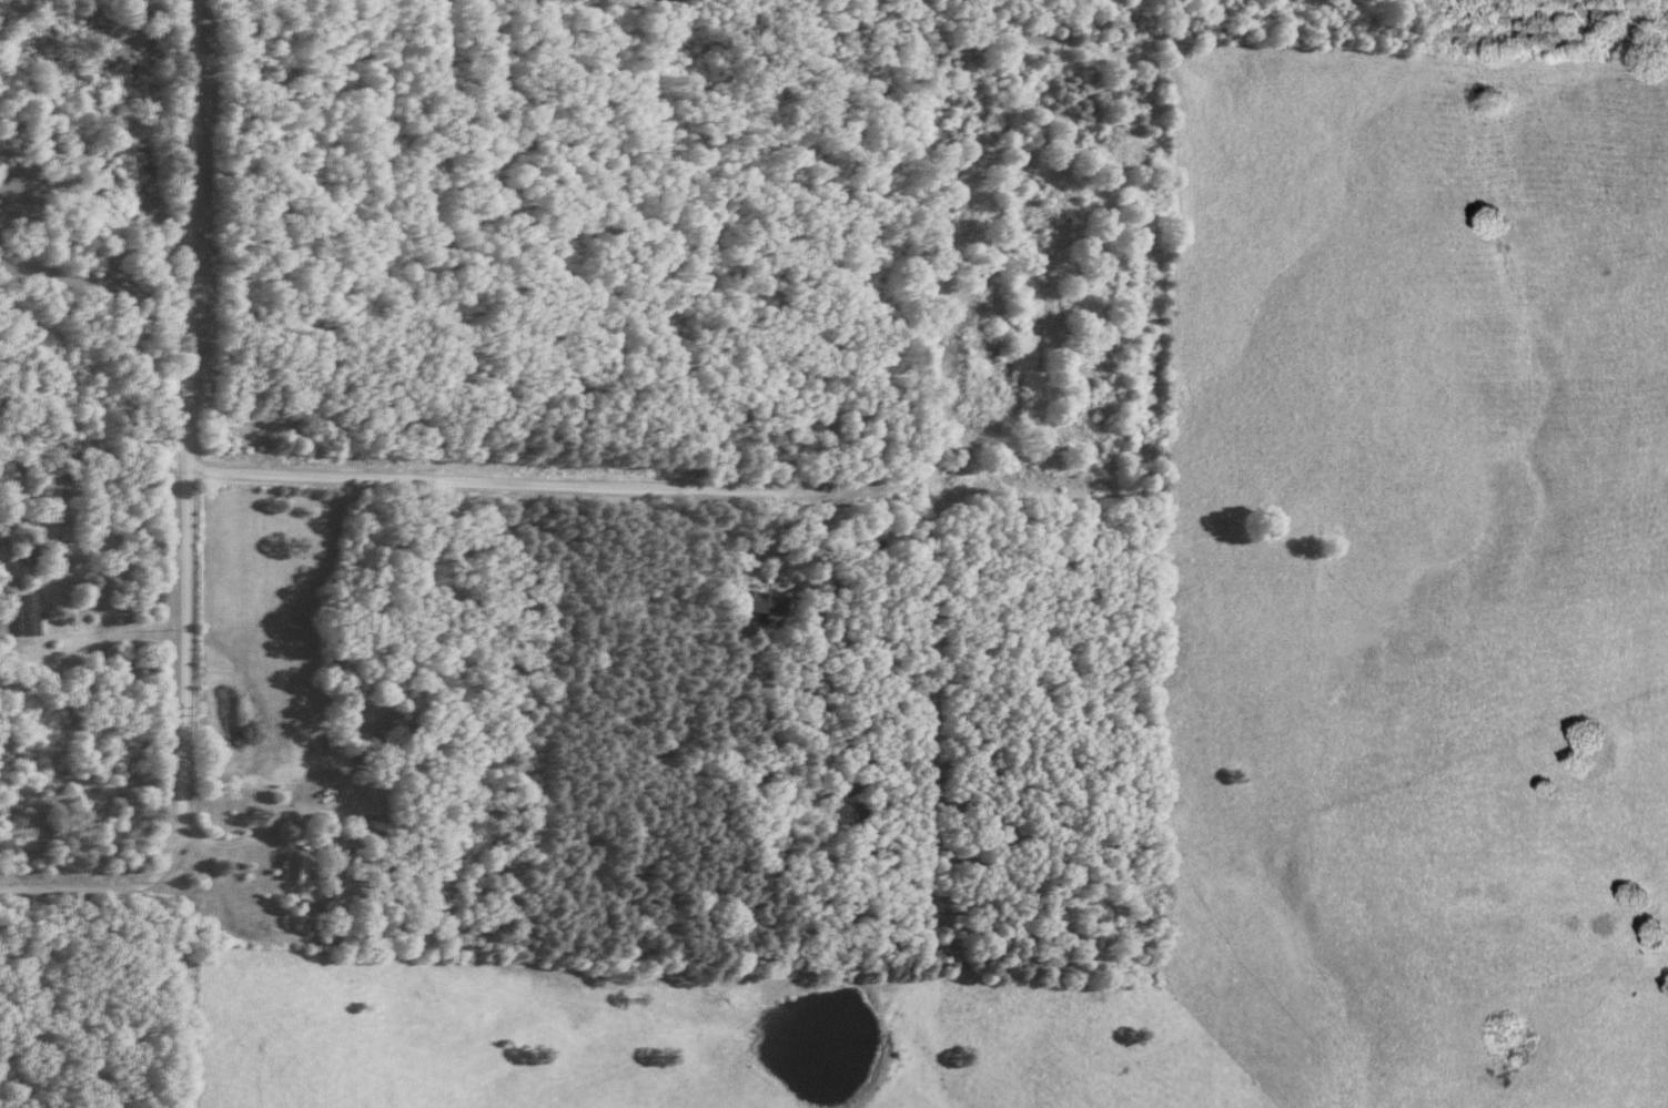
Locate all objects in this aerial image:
building: (6, 167)
road: (186, 470)
road: (543, 486)
road: (111, 563)
building: (34, 612)
road: (305, 838)
building: (301, 864)

